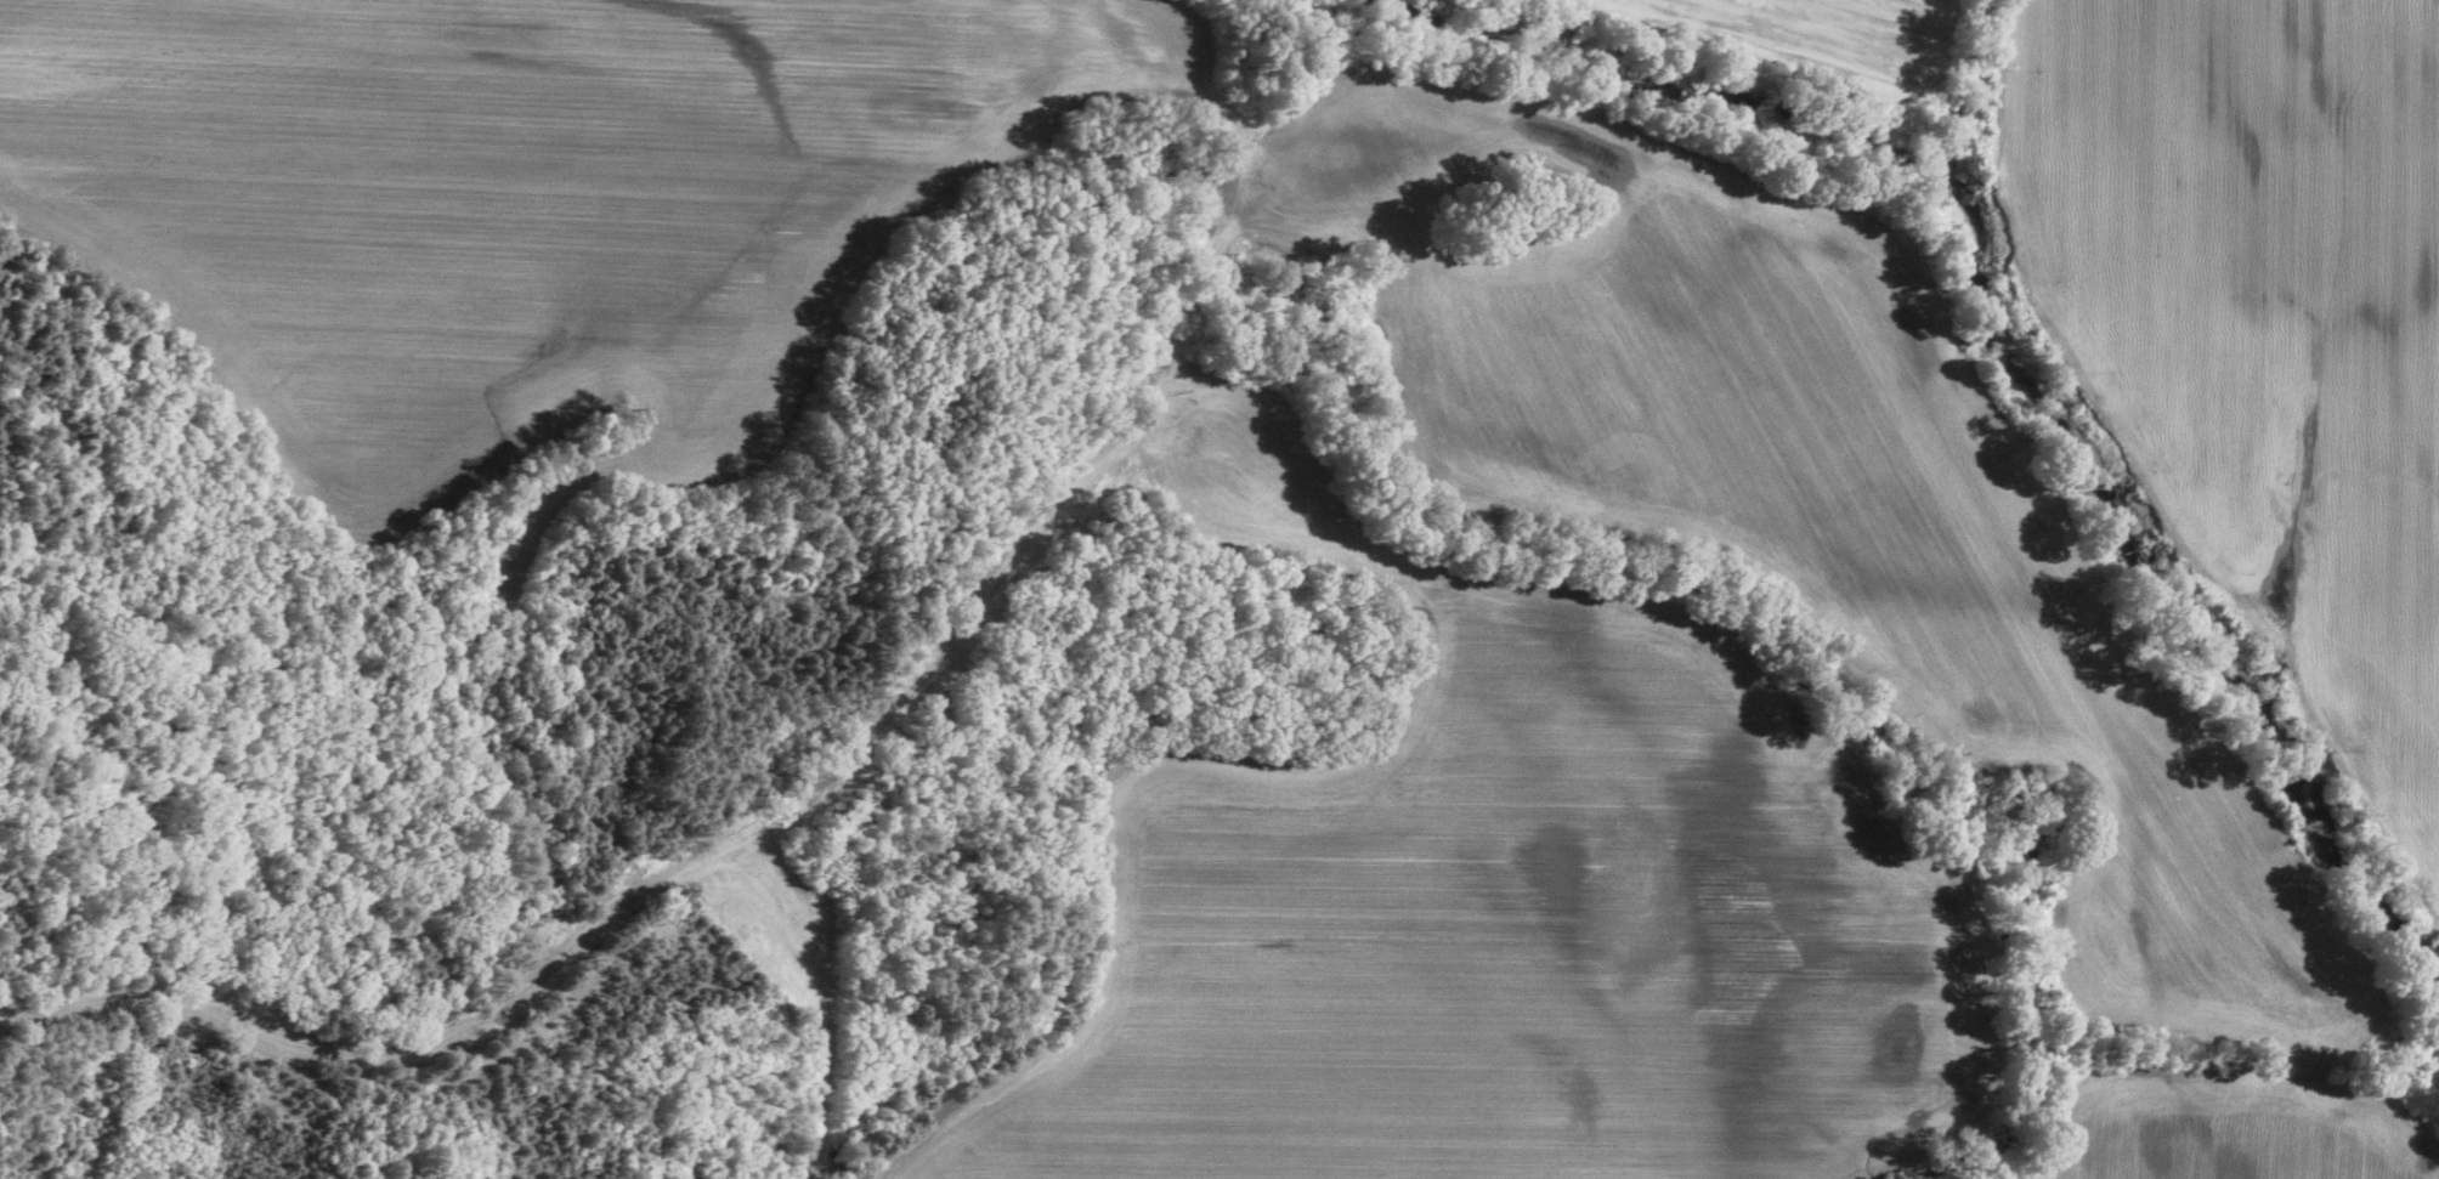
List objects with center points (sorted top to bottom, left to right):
road: (1252, 186)
road: (677, 895)

